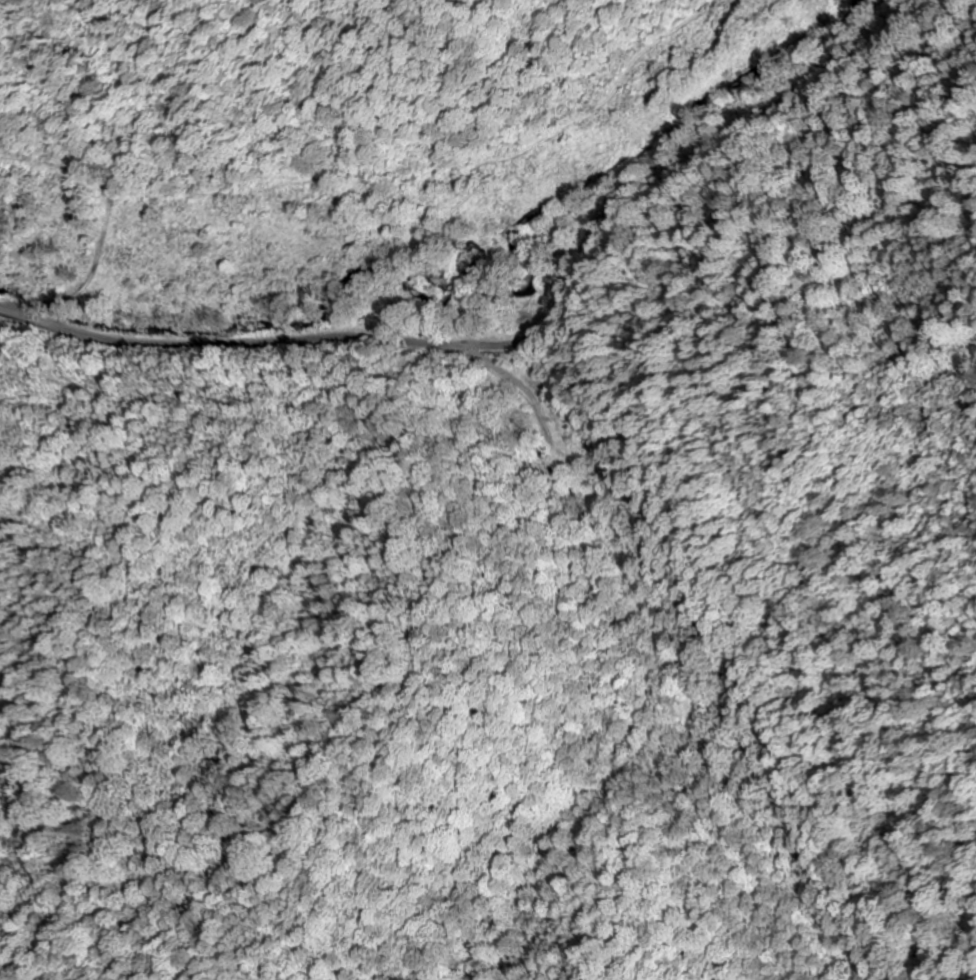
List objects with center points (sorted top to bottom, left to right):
road: (529, 336)

